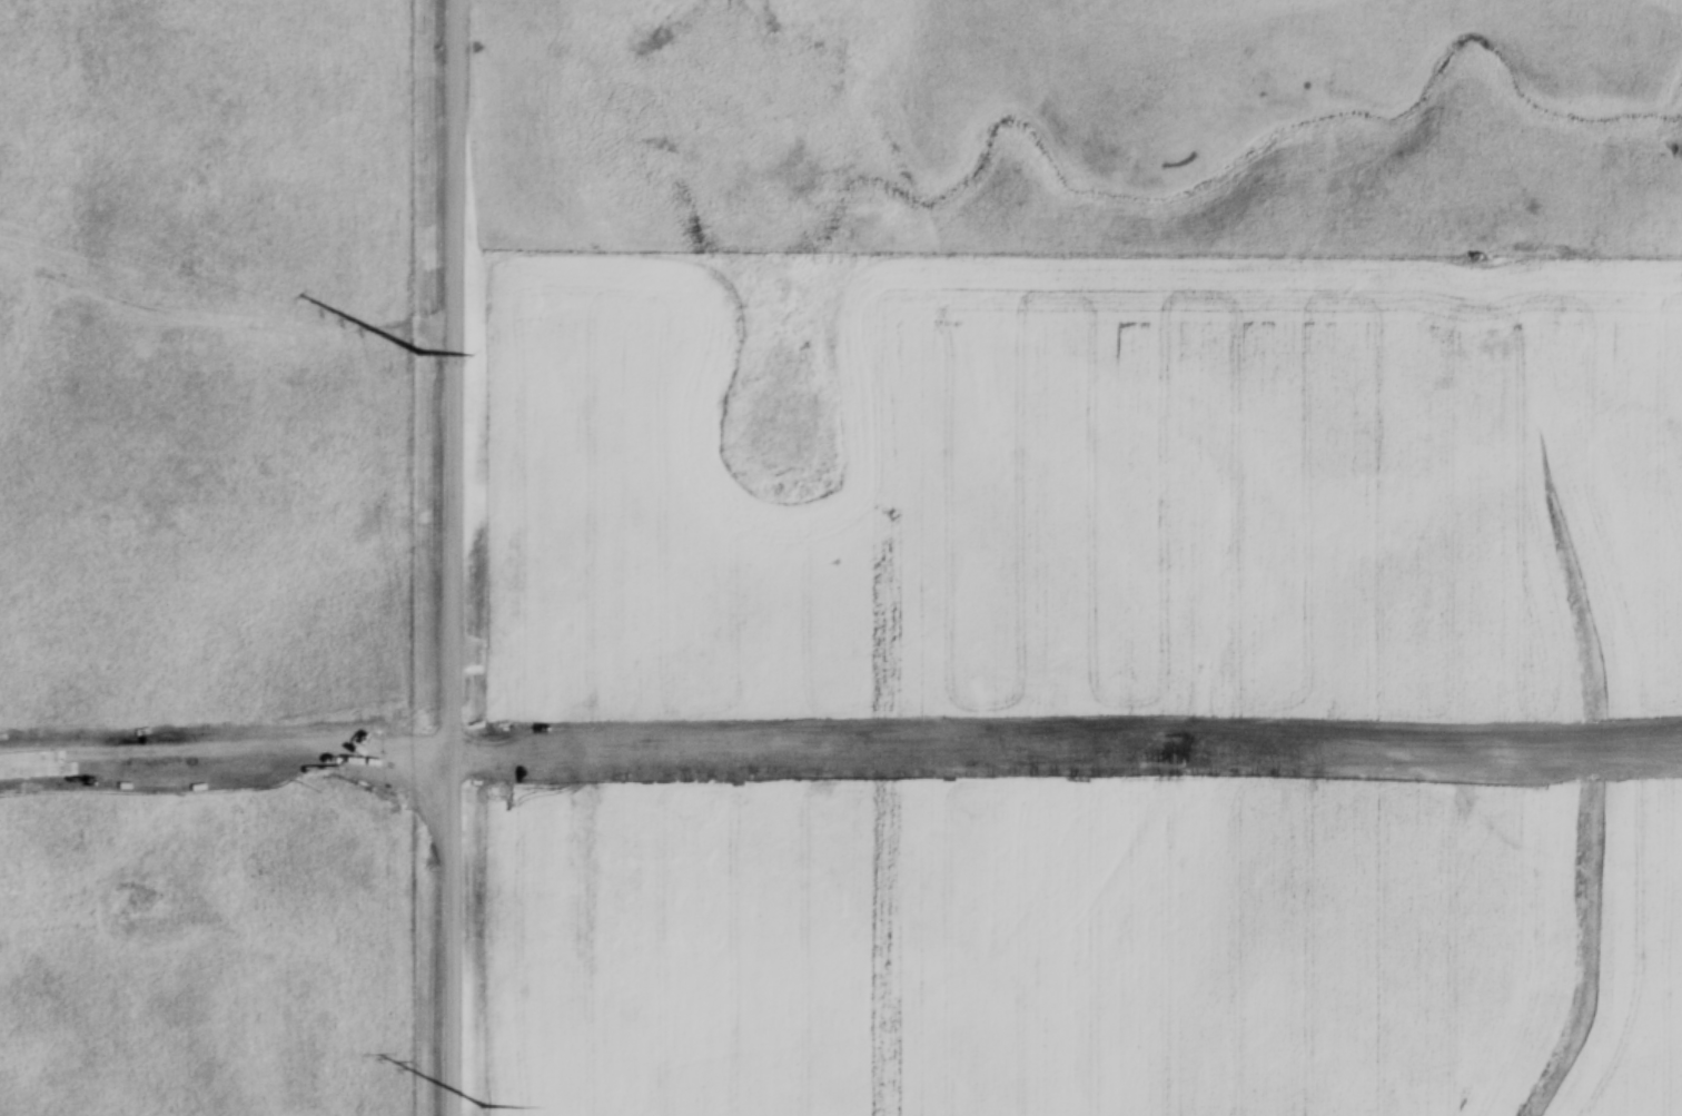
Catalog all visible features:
power tower: (422, 348)
road: (455, 557)
power tower: (486, 1103)

